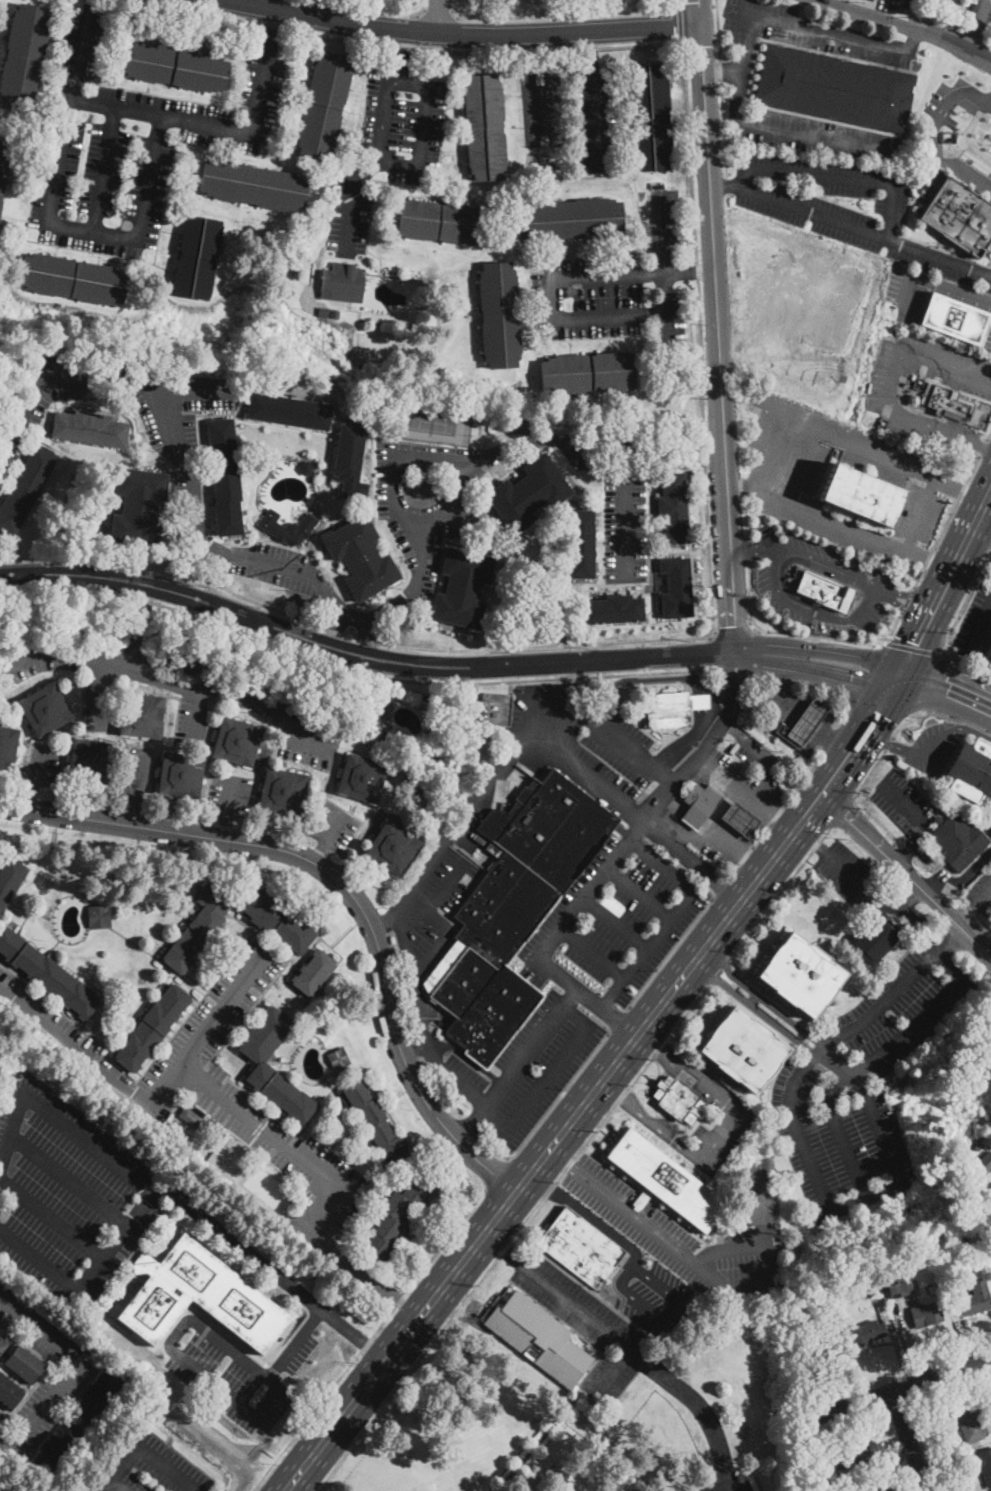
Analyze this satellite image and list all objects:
road: (90, 3)
road: (275, 4)
road: (677, 4)
road: (698, 5)
road: (378, 8)
parking lot: (979, 8)
road: (981, 10)
road: (438, 12)
road: (440, 15)
road: (564, 16)
road: (941, 21)
road: (679, 24)
road: (908, 27)
road: (818, 28)
road: (270, 31)
road: (463, 32)
road: (974, 33)
road: (973, 35)
road: (912, 39)
road: (988, 40)
road: (701, 42)
road: (588, 46)
road: (410, 47)
road: (408, 55)
building: (24, 57)
building: (174, 66)
road: (722, 73)
parking lot: (740, 83)
road: (721, 88)
building: (835, 89)
road: (989, 101)
parking lot: (942, 104)
building: (323, 105)
road: (989, 105)
parking lot: (594, 115)
road: (595, 116)
building: (650, 117)
road: (199, 122)
road: (424, 127)
building: (484, 127)
road: (751, 128)
road: (933, 134)
road: (966, 134)
parking lot: (130, 141)
parking lot: (387, 154)
building: (3, 164)
road: (103, 168)
road: (371, 168)
road: (838, 177)
road: (720, 183)
building: (253, 185)
parking lot: (845, 208)
building: (959, 217)
building: (569, 219)
road: (49, 221)
building: (439, 222)
road: (861, 231)
building: (197, 257)
road: (662, 267)
road: (688, 272)
building: (73, 279)
parking lot: (614, 280)
road: (930, 281)
building: (343, 282)
parking lot: (917, 294)
road: (552, 299)
road: (715, 300)
building: (334, 314)
building: (499, 315)
building: (954, 319)
road: (699, 339)
parking lot: (989, 346)
building: (588, 373)
road: (974, 374)
parking lot: (963, 380)
road: (890, 390)
road: (191, 391)
building: (949, 404)
building: (289, 411)
parking lot: (167, 419)
park: (432, 421)
building: (511, 425)
building: (89, 430)
road: (989, 436)
road: (519, 442)
road: (849, 446)
road: (982, 448)
road: (983, 448)
road: (768, 452)
road: (444, 453)
road: (673, 455)
building: (350, 461)
road: (801, 468)
road: (972, 469)
parking lot: (912, 473)
building: (224, 476)
building: (25, 488)
road: (739, 488)
road: (961, 491)
building: (529, 493)
building: (860, 495)
road: (966, 495)
parking lot: (426, 499)
building: (139, 508)
building: (673, 508)
road: (920, 516)
road: (624, 517)
road: (195, 521)
road: (832, 521)
road: (984, 521)
parking lot: (624, 523)
road: (945, 524)
building: (307, 525)
road: (747, 525)
building: (580, 544)
road: (748, 548)
road: (749, 548)
road: (927, 557)
building: (360, 558)
road: (932, 561)
parking lot: (268, 566)
parking lot: (861, 575)
road: (918, 576)
road: (774, 579)
road: (946, 583)
road: (783, 584)
building: (462, 588)
building: (676, 588)
building: (823, 588)
road: (880, 590)
road: (913, 595)
road: (906, 600)
building: (613, 609)
road: (905, 614)
road: (142, 620)
road: (888, 621)
road: (954, 623)
parking lot: (976, 624)
road: (733, 626)
road: (335, 628)
road: (980, 628)
road: (736, 632)
road: (799, 633)
road: (849, 634)
road: (364, 635)
road: (351, 636)
traffic signals: (918, 643)
road: (915, 649)
building: (989, 650)
road: (819, 653)
road: (361, 656)
building: (180, 662)
road: (863, 668)
road: (716, 669)
road: (565, 671)
road: (734, 671)
road: (816, 671)
road: (367, 672)
road: (693, 676)
road: (758, 678)
traffic signals: (851, 679)
road: (168, 680)
road: (781, 680)
road: (778, 683)
road: (936, 683)
parking lot: (99, 686)
road: (821, 687)
road: (106, 689)
road: (946, 694)
traffic signals: (946, 694)
road: (701, 703)
road: (813, 704)
road: (694, 705)
road: (879, 705)
road: (530, 707)
building: (672, 708)
building: (45, 709)
building: (379, 709)
building: (494, 710)
road: (845, 710)
traffic signals: (877, 712)
gas station: (796, 714)
building: (141, 715)
road: (799, 716)
road: (201, 717)
road: (563, 718)
road: (904, 720)
road: (958, 720)
parking lot: (293, 722)
building: (802, 724)
road: (793, 727)
road: (949, 727)
road: (860, 735)
parking lot: (567, 739)
road: (832, 739)
building: (236, 742)
road: (619, 742)
road: (835, 742)
parking lot: (621, 744)
road: (708, 744)
road: (889, 744)
road: (754, 745)
road: (892, 745)
building: (8, 748)
parking lot: (931, 751)
building: (90, 761)
parking lot: (44, 765)
road: (38, 766)
parking lot: (744, 769)
building: (971, 770)
road: (585, 774)
parking lot: (136, 775)
building: (180, 775)
road: (869, 775)
road: (140, 778)
building: (362, 778)
road: (805, 779)
road: (737, 786)
building: (281, 791)
gas station: (735, 794)
parking lot: (229, 796)
road: (33, 798)
road: (229, 798)
parking lot: (900, 802)
building: (699, 804)
road: (907, 805)
road: (778, 813)
road: (842, 814)
road: (134, 816)
building: (739, 819)
road: (462, 822)
road: (786, 823)
road: (711, 824)
parking lot: (332, 827)
road: (332, 828)
road: (224, 830)
road: (762, 835)
road: (728, 840)
road: (809, 840)
building: (957, 840)
road: (912, 845)
building: (391, 848)
parking lot: (719, 850)
road: (317, 853)
road: (745, 856)
road: (693, 859)
road: (756, 862)
road: (662, 864)
road: (734, 870)
road: (966, 872)
road: (907, 874)
road: (851, 876)
building: (9, 878)
parking lot: (853, 879)
road: (934, 884)
road: (722, 885)
road: (346, 887)
road: (590, 889)
road: (639, 892)
road: (780, 892)
parking lot: (981, 895)
road: (433, 900)
road: (983, 900)
parking lot: (432, 902)
road: (903, 906)
building: (512, 910)
road: (910, 914)
building: (98, 916)
road: (967, 916)
building: (279, 921)
road: (616, 922)
road: (384, 923)
building: (197, 929)
road: (446, 934)
building: (875, 938)
road: (950, 942)
road: (647, 948)
road: (668, 951)
road: (592, 952)
road: (726, 962)
road: (719, 972)
building: (46, 973)
building: (313, 973)
road: (556, 973)
building: (800, 974)
parking lot: (582, 977)
road: (712, 980)
road: (414, 991)
road: (760, 997)
road: (752, 998)
road: (427, 1005)
road: (755, 1008)
road: (605, 1012)
road: (577, 1014)
road: (617, 1021)
building: (152, 1027)
road: (539, 1036)
road: (657, 1045)
road: (414, 1047)
building: (742, 1049)
road: (468, 1056)
building: (337, 1058)
road: (810, 1059)
road: (834, 1061)
road: (869, 1064)
building: (262, 1068)
road: (544, 1081)
road: (654, 1082)
parking lot: (215, 1084)
parking lot: (861, 1084)
road: (559, 1097)
building: (677, 1099)
road: (623, 1101)
road: (152, 1103)
road: (480, 1104)
road: (479, 1112)
parking lot: (706, 1118)
building: (375, 1123)
building: (201, 1124)
road: (878, 1126)
road: (11, 1130)
road: (724, 1131)
road: (89, 1143)
road: (553, 1143)
road: (281, 1146)
building: (979, 1146)
road: (562, 1158)
building: (982, 1165)
road: (496, 1174)
road: (71, 1178)
building: (664, 1181)
parking lot: (756, 1188)
parking lot: (70, 1189)
road: (866, 1197)
building: (987, 1210)
road: (588, 1216)
road: (51, 1217)
building: (393, 1217)
road: (648, 1226)
road: (513, 1237)
road: (119, 1238)
parking lot: (686, 1242)
road: (497, 1248)
building: (579, 1248)
road: (763, 1249)
road: (38, 1259)
building: (974, 1263)
road: (274, 1272)
road: (365, 1276)
building: (876, 1280)
building: (899, 1287)
building: (931, 1290)
building: (198, 1295)
building: (975, 1298)
parking lot: (660, 1300)
road: (578, 1307)
building: (881, 1307)
building: (925, 1314)
road: (668, 1322)
parking lot: (583, 1323)
road: (177, 1327)
building: (865, 1332)
road: (963, 1332)
building: (538, 1338)
road: (909, 1339)
road: (370, 1340)
building: (2, 1344)
road: (896, 1348)
building: (818, 1351)
building: (23, 1364)
road: (614, 1365)
road: (71, 1367)
parking lot: (235, 1369)
road: (902, 1385)
parking lot: (58, 1387)
road: (818, 1389)
building: (8, 1393)
building: (97, 1395)
road: (698, 1403)
building: (603, 1409)
building: (969, 1422)
road: (908, 1440)
road: (811, 1441)
building: (56, 1447)
road: (145, 1449)
road: (945, 1452)
building: (859, 1455)
building: (985, 1465)
parking lot: (147, 1466)
building: (814, 1476)
road: (728, 1482)
parking lot: (731, 1483)
road: (121, 1484)
parking lot: (702, 1487)
road: (973, 1489)

